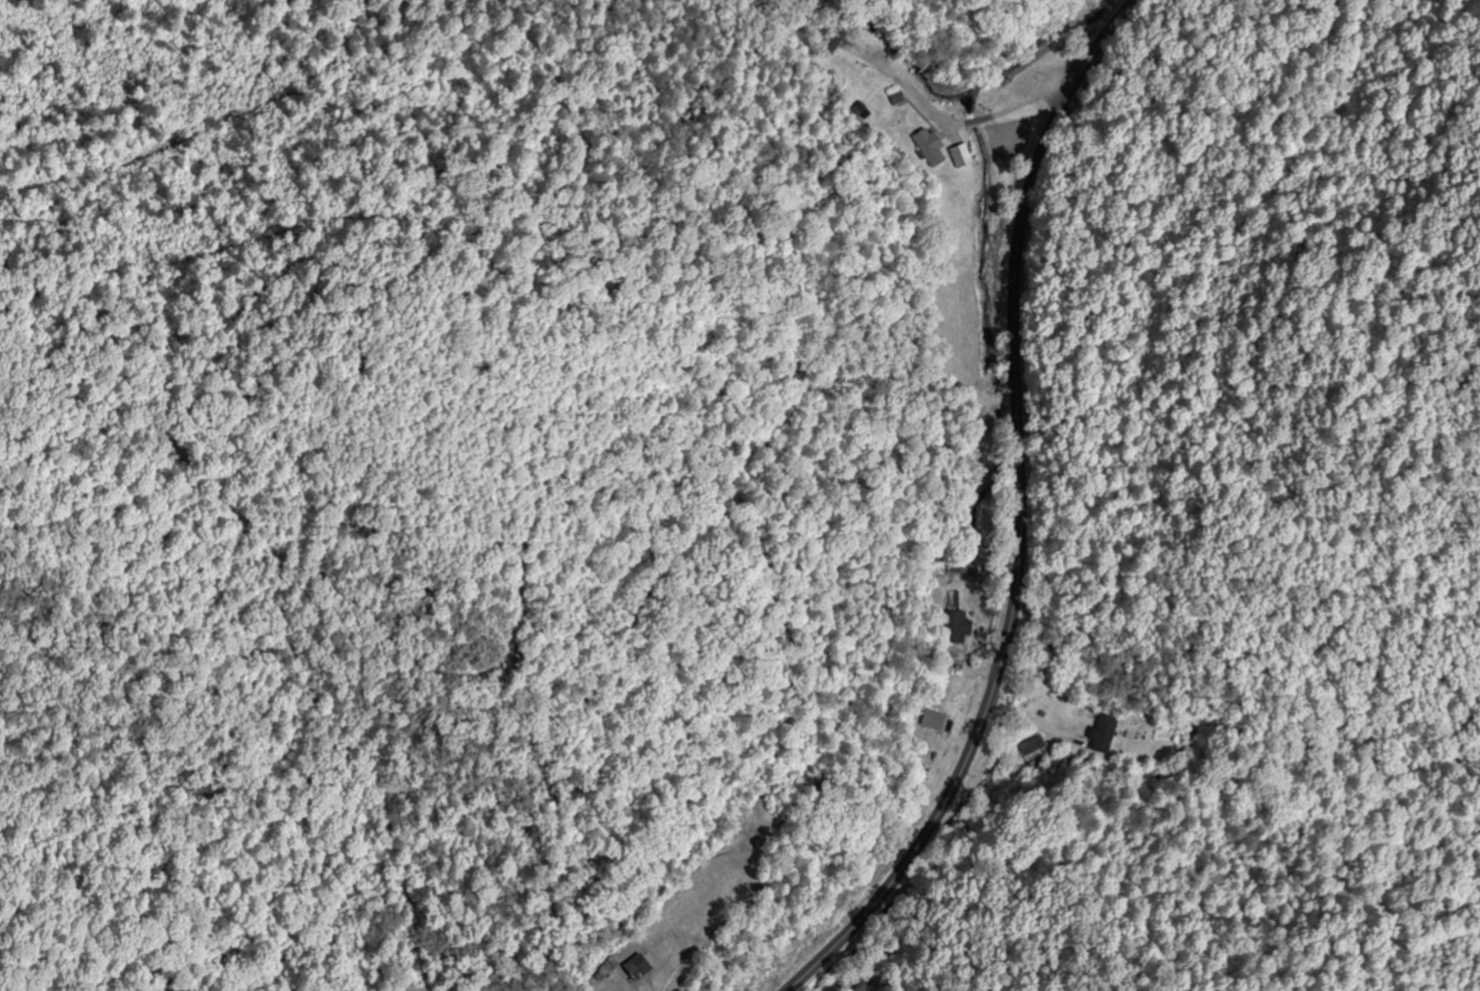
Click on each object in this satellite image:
building: (836, 42)
building: (899, 98)
building: (932, 147)
building: (963, 155)
road: (1020, 515)
building: (961, 566)
building: (432, 614)
building: (958, 631)
building: (1104, 734)
building: (1032, 749)
building: (641, 967)

